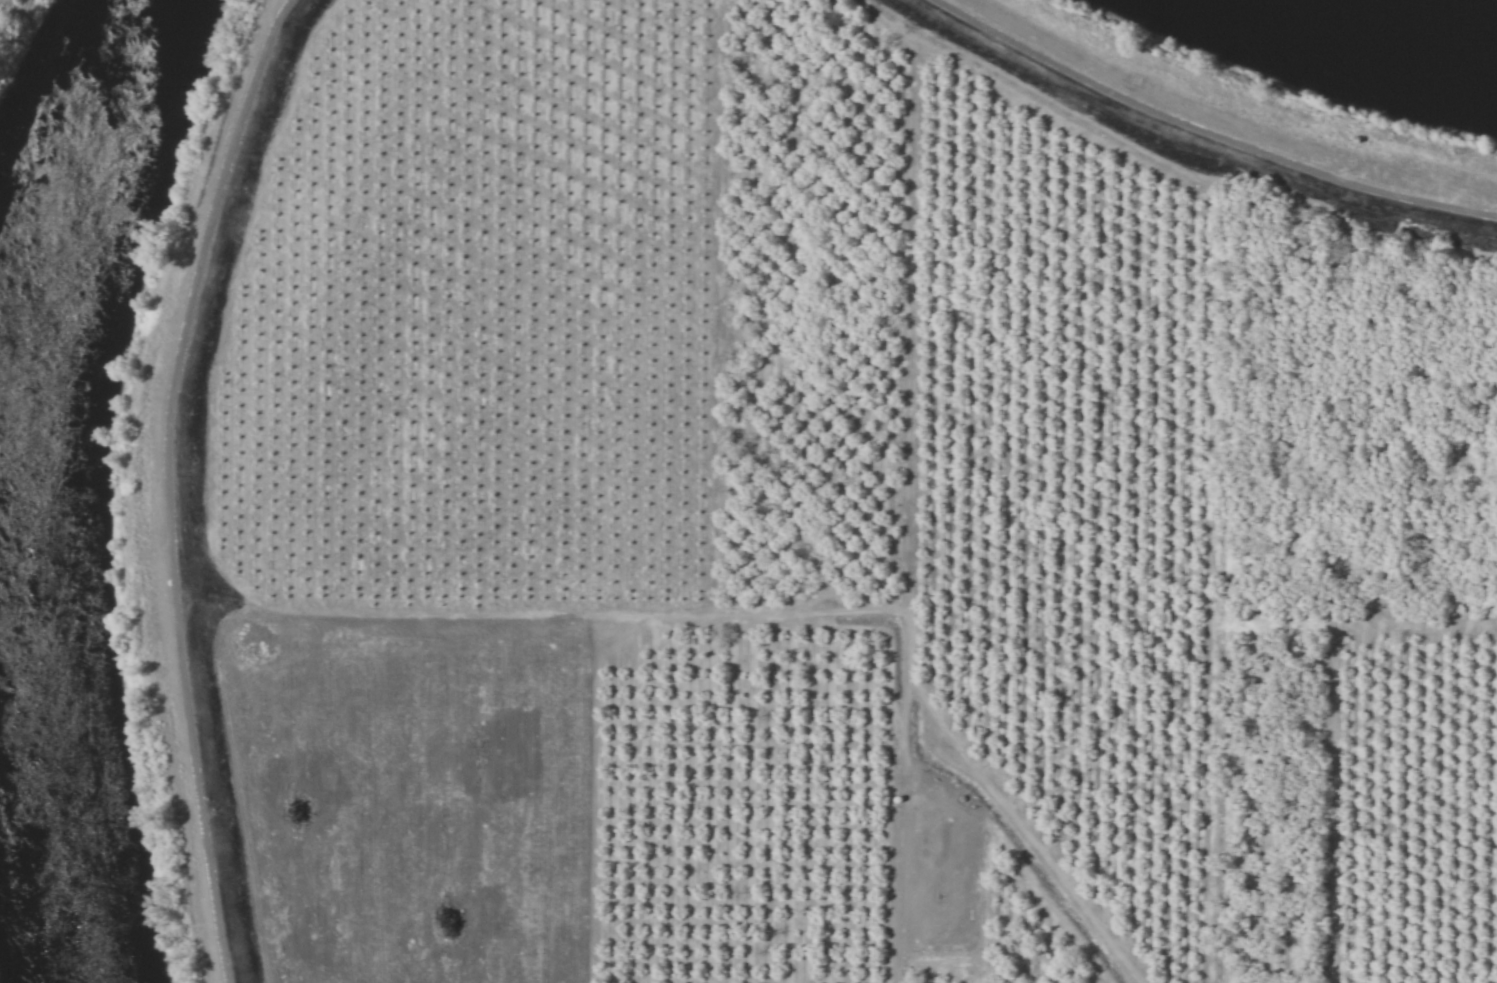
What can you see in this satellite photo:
river: (1408, 29)
road: (1190, 135)
river: (42, 483)
road: (226, 483)

